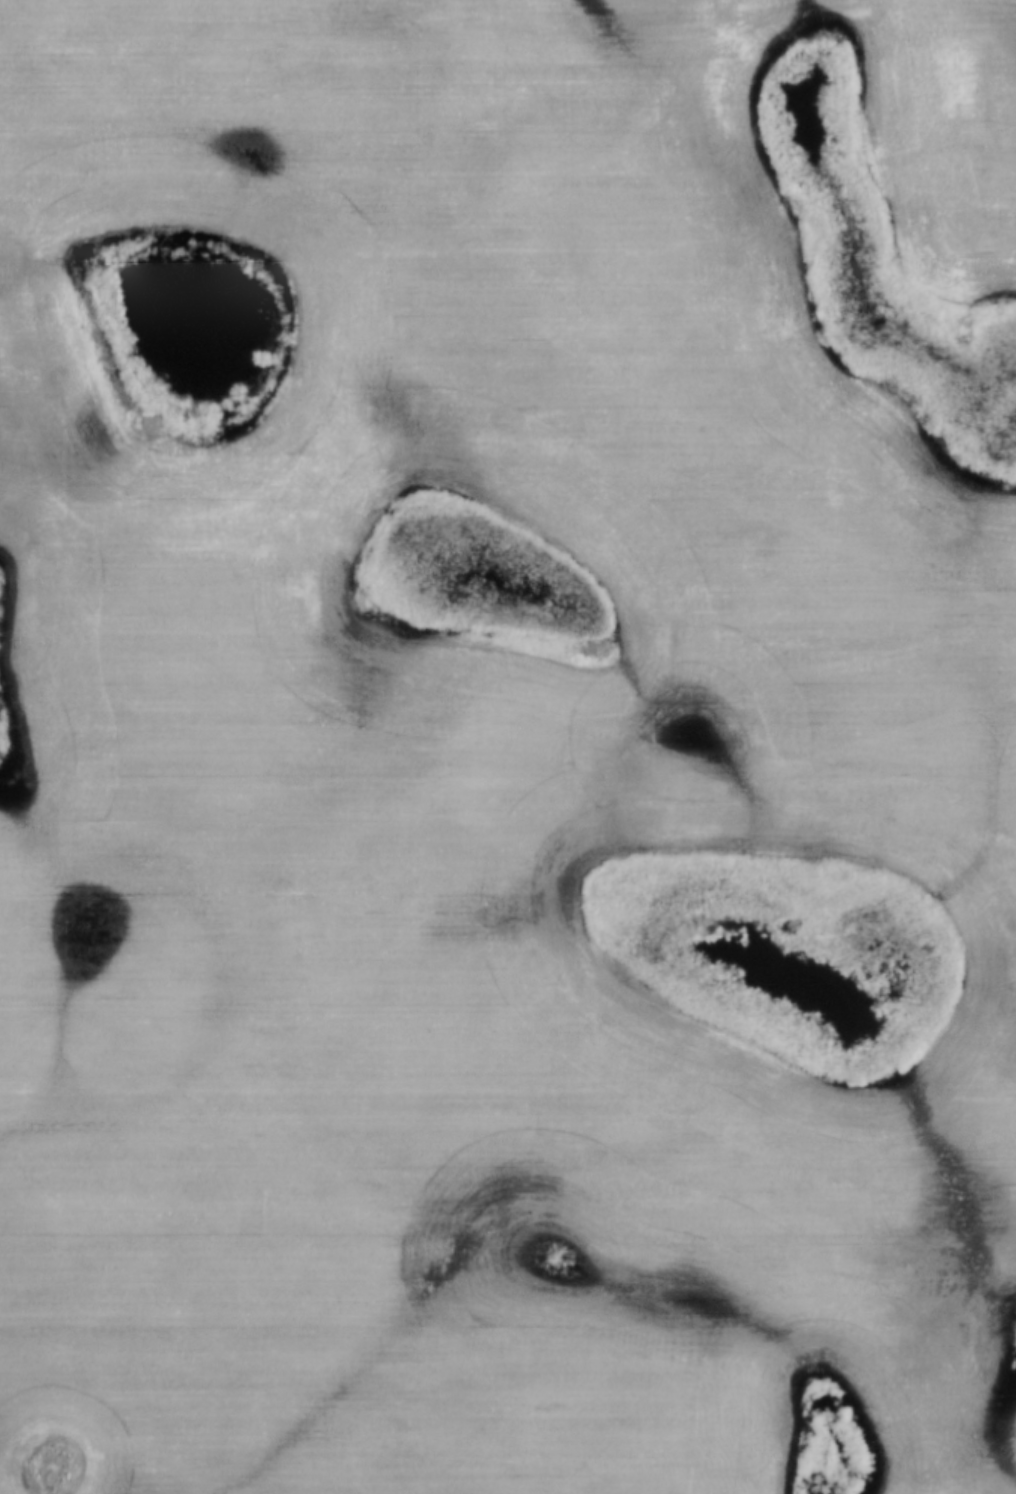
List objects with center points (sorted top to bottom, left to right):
road: (676, 11)

